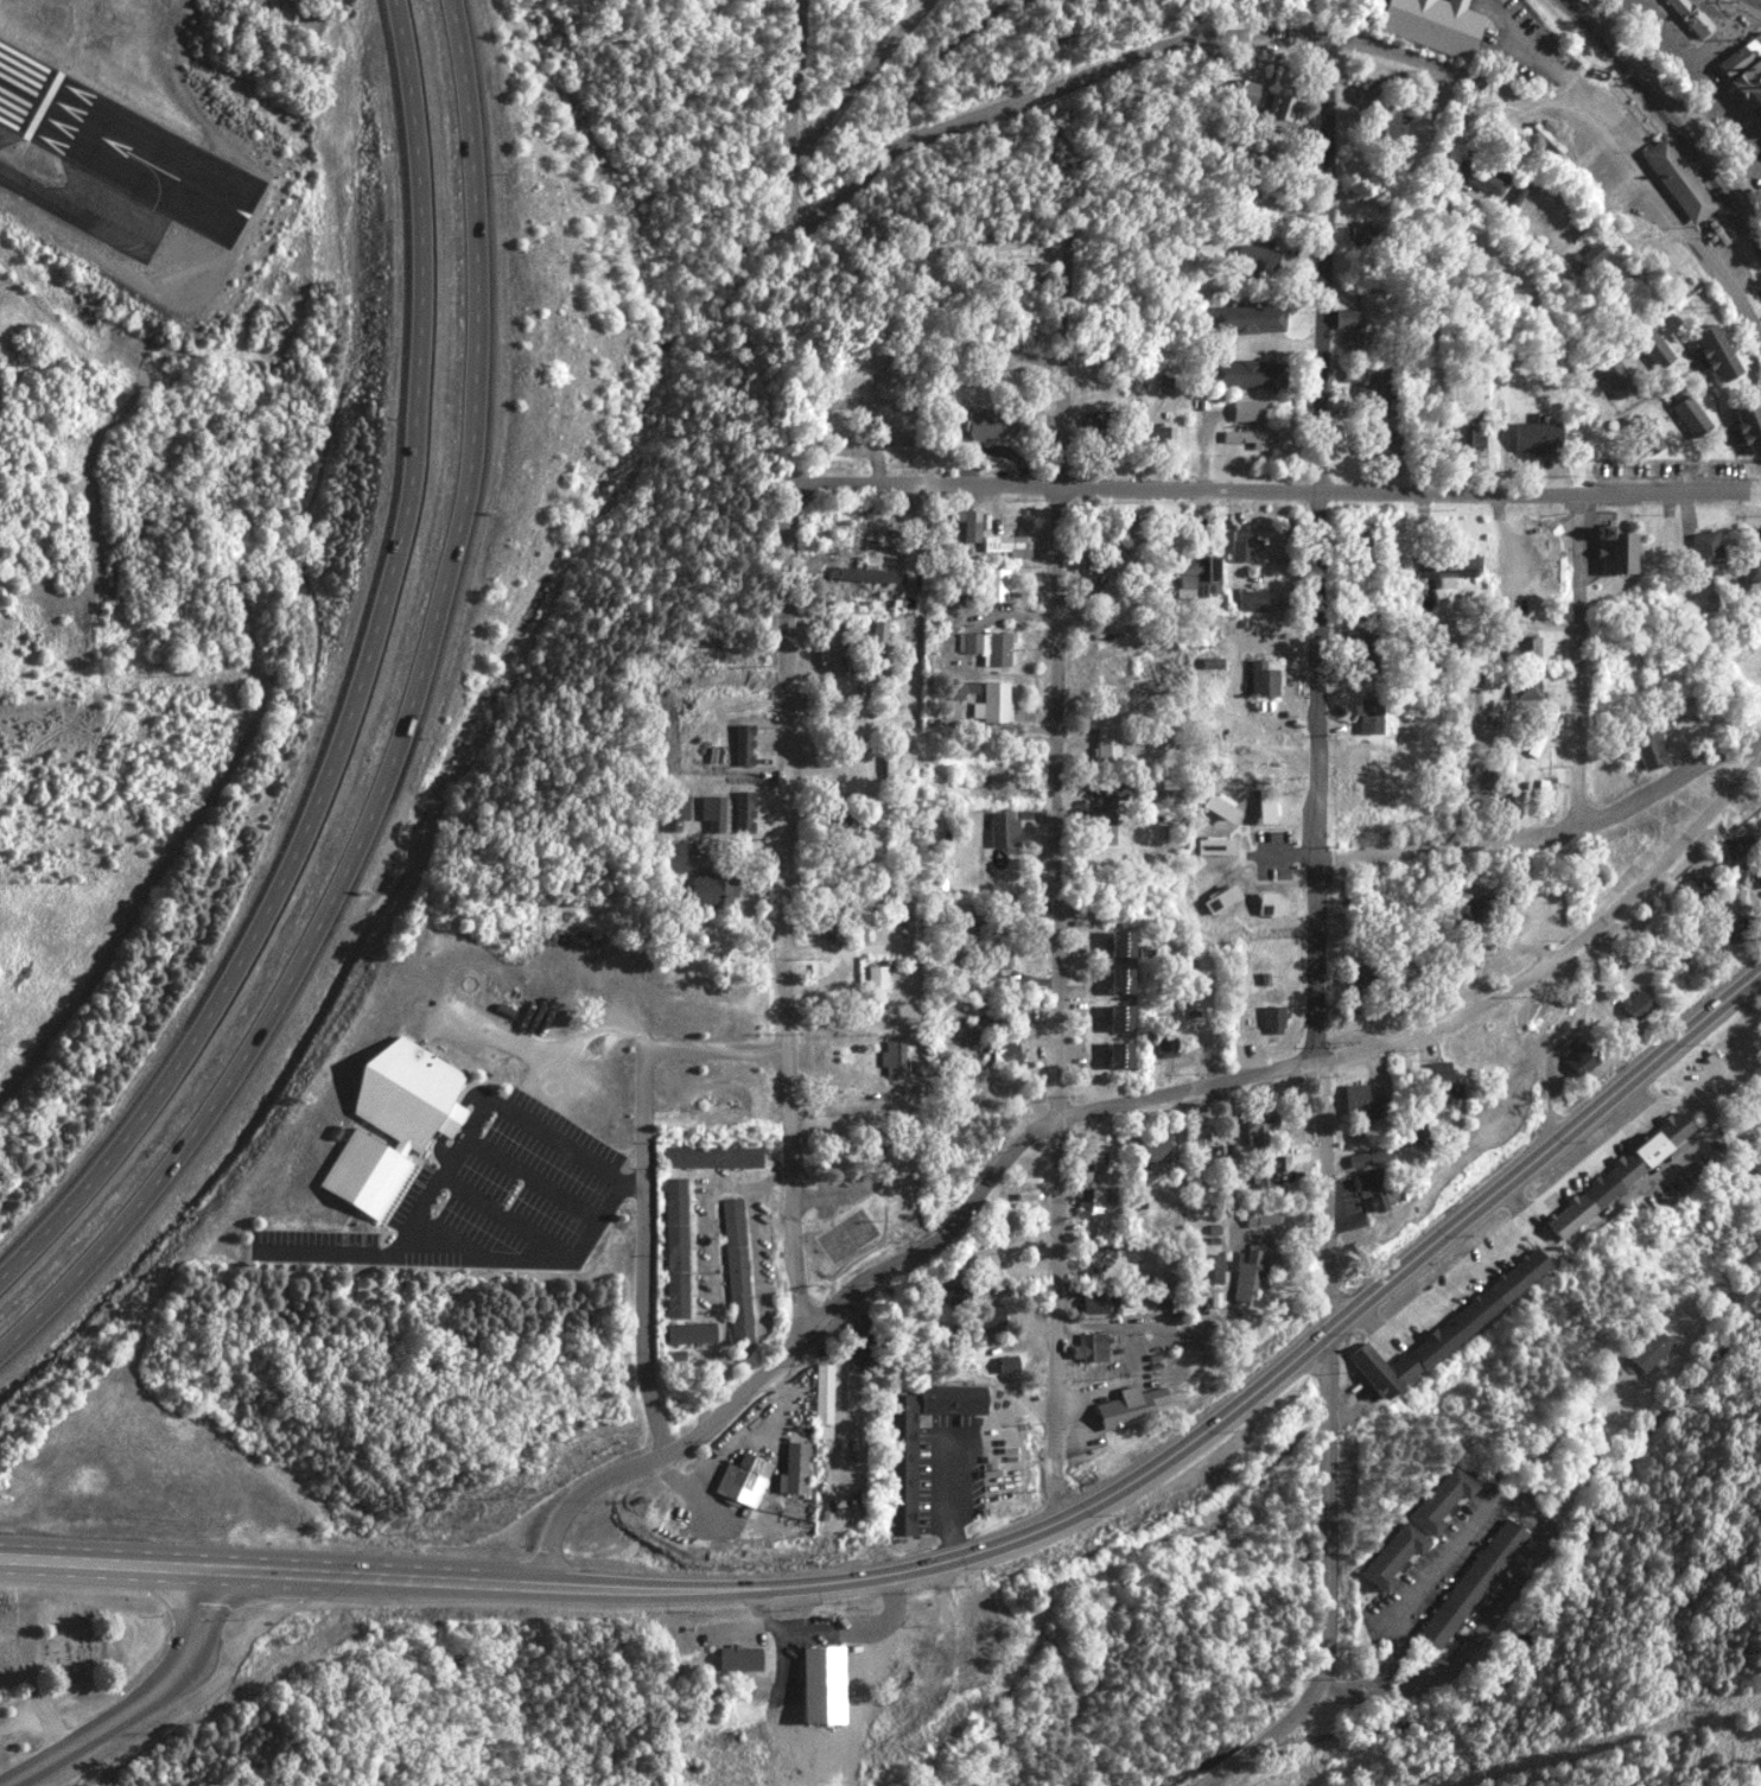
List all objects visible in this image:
building: (1690, 15)
building: (1433, 24)
park: (1114, 26)
road: (1312, 37)
road: (1714, 47)
road: (1545, 59)
building: (1748, 71)
road: (1702, 78)
road: (800, 83)
road: (864, 83)
building: (1240, 93)
building: (1276, 112)
building: (1390, 125)
railway: (1666, 128)
building: (1477, 171)
building: (1676, 179)
road: (793, 193)
airport runway: (250, 197)
airport taxiway: (76, 216)
building: (1363, 233)
building: (1005, 249)
building: (1254, 256)
building: (1585, 258)
airport: (131, 281)
building: (1611, 282)
building: (1245, 318)
building: (1352, 329)
road: (915, 345)
building: (1649, 348)
building: (1710, 351)
building: (1248, 374)
building: (1613, 377)
building: (1369, 386)
building: (1681, 408)
building: (1247, 409)
building: (895, 422)
building: (1019, 422)
building: (984, 424)
building: (1746, 427)
building: (1096, 434)
building: (1642, 434)
building: (1162, 436)
building: (1539, 437)
building: (1251, 438)
building: (1470, 441)
building: (907, 453)
road: (1273, 494)
building: (968, 526)
building: (1010, 545)
building: (1241, 546)
building: (1356, 546)
building: (1706, 547)
building: (1617, 549)
building: (1750, 566)
building: (1445, 567)
building: (866, 576)
building: (1200, 576)
building: (1252, 600)
road: (1455, 629)
building: (825, 642)
building: (987, 647)
building: (878, 649)
building: (1522, 650)
building: (1366, 653)
road: (1585, 661)
building: (1264, 679)
road: (352, 687)
building: (962, 689)
building: (1759, 691)
park: (1744, 692)
building: (994, 703)
building: (1371, 717)
building: (1539, 732)
road: (395, 735)
road: (854, 736)
building: (1108, 744)
road: (991, 788)
building: (1112, 793)
road: (921, 800)
building: (1104, 827)
building: (1003, 830)
road: (1551, 832)
building: (1215, 847)
building: (676, 857)
building: (1760, 872)
road: (1060, 889)
building: (1696, 890)
building: (713, 891)
building: (1271, 905)
building: (1480, 909)
road: (795, 919)
road: (1324, 940)
building: (1119, 943)
building: (997, 956)
building: (878, 978)
building: (1363, 979)
building: (1119, 981)
building: (1635, 1005)
building: (1118, 1018)
building: (1274, 1021)
road: (1547, 1041)
building: (1166, 1048)
building: (1005, 1054)
building: (1118, 1055)
building: (894, 1059)
building: (1581, 1060)
building: (1439, 1073)
building: (1365, 1104)
road: (1108, 1105)
building: (392, 1126)
building: (1260, 1129)
building: (1418, 1131)
building: (1151, 1146)
building: (712, 1157)
building: (1094, 1158)
road: (454, 1164)
building: (1620, 1174)
building: (1270, 1175)
building: (1369, 1176)
road: (535, 1178)
road: (647, 1182)
park: (859, 1189)
building: (1093, 1203)
building: (1264, 1218)
road: (513, 1220)
park: (848, 1239)
building: (675, 1248)
road: (535, 1257)
building: (1210, 1269)
building: (736, 1271)
building: (1246, 1273)
building: (1095, 1301)
building: (1479, 1310)
building: (992, 1317)
building: (689, 1333)
building: (1091, 1348)
building: (1649, 1350)
building: (863, 1353)
building: (1007, 1365)
building: (1384, 1371)
building: (824, 1394)
building: (1130, 1407)
road: (1161, 1466)
building: (794, 1470)
building: (904, 1475)
building: (743, 1481)
building: (1442, 1501)
road: (1541, 1542)
building: (1393, 1558)
road: (202, 1568)
building: (1469, 1584)
park: (74, 1654)
building: (739, 1659)
building: (821, 1686)
road: (144, 1703)

